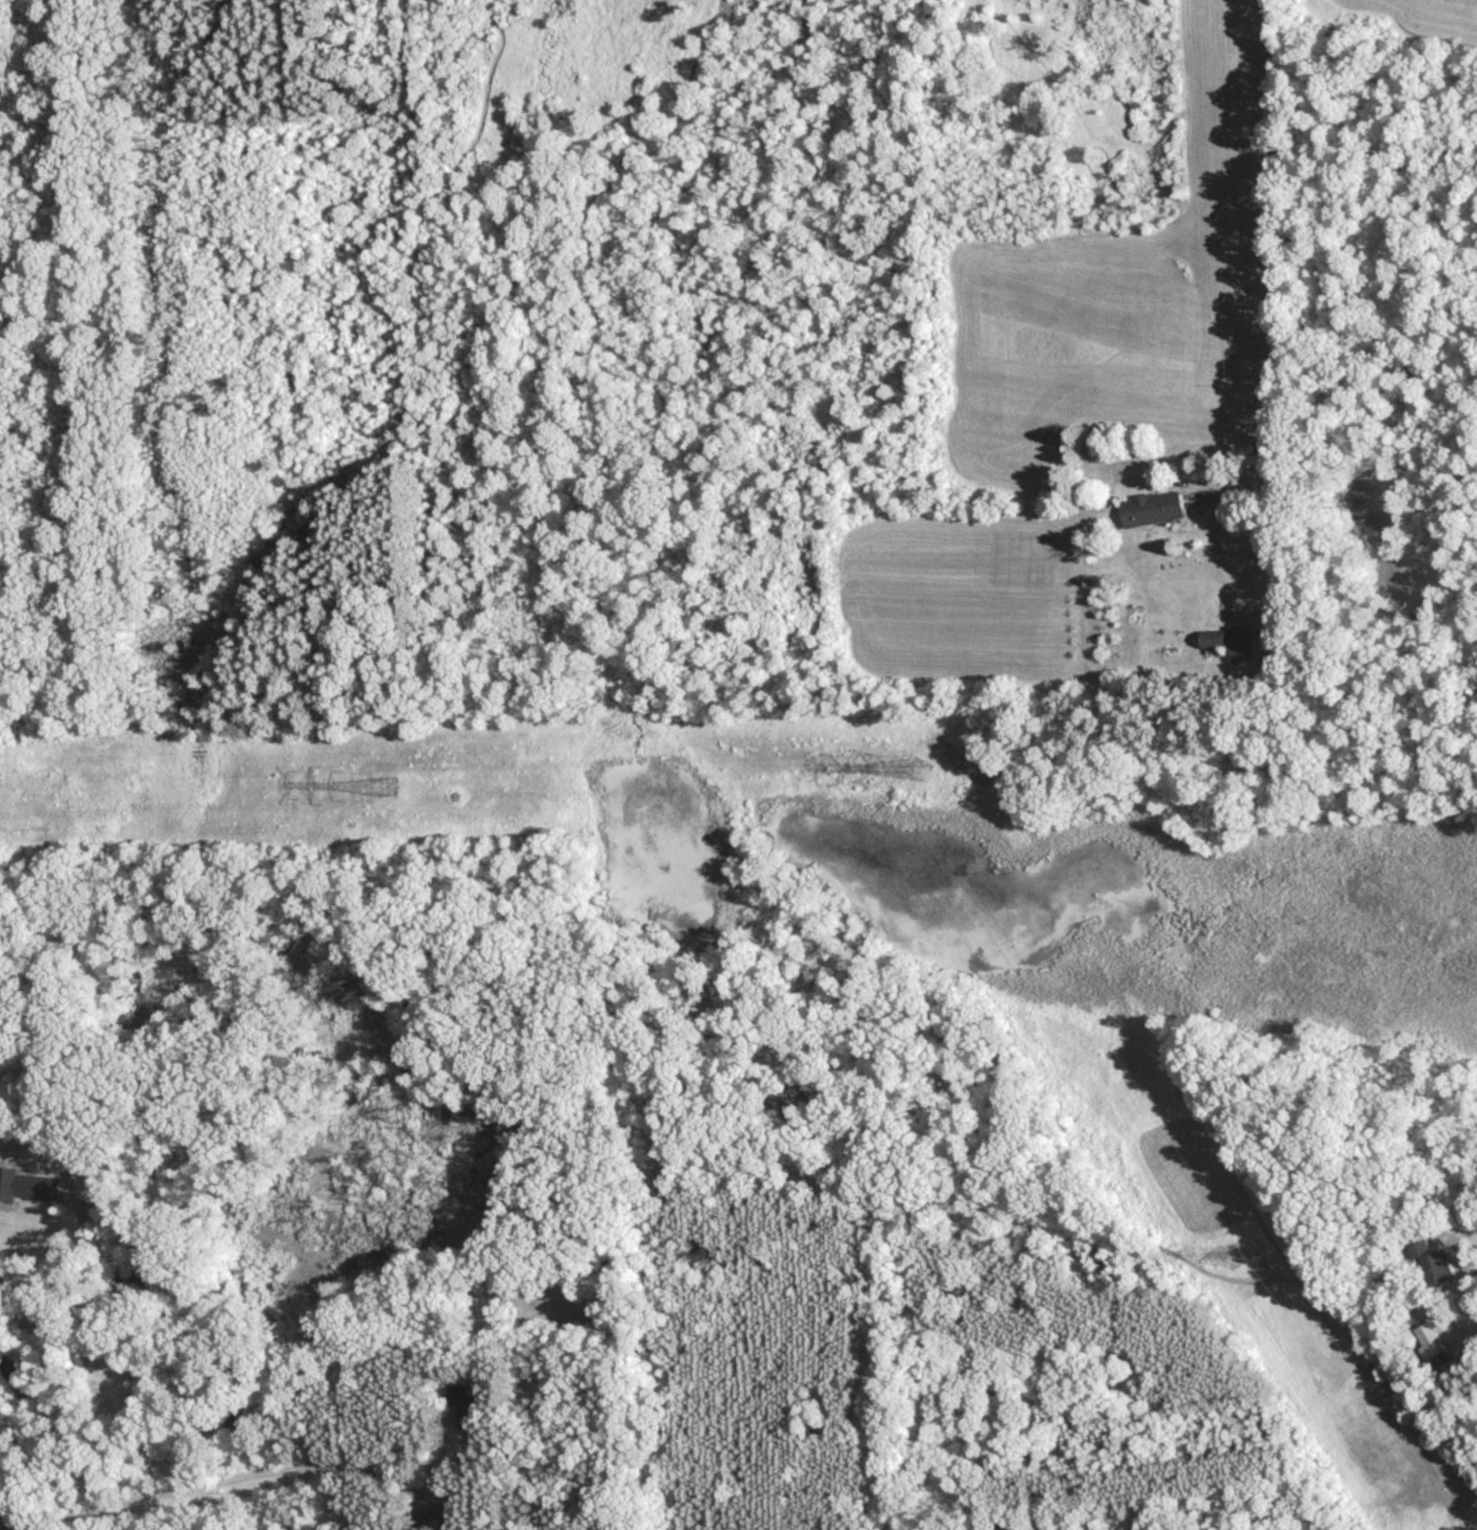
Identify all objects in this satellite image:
road: (1263, 254)
building: (1151, 508)
building: (1211, 640)
building: (1239, 642)
power tower: (920, 764)
power tower: (387, 786)
building: (26, 1185)
road: (1473, 1235)
power tower: (1237, 1257)
building: (1428, 1258)
road: (76, 1262)
building: (1430, 1344)
building: (469, 1407)
road: (256, 1473)
building: (984, 1528)

